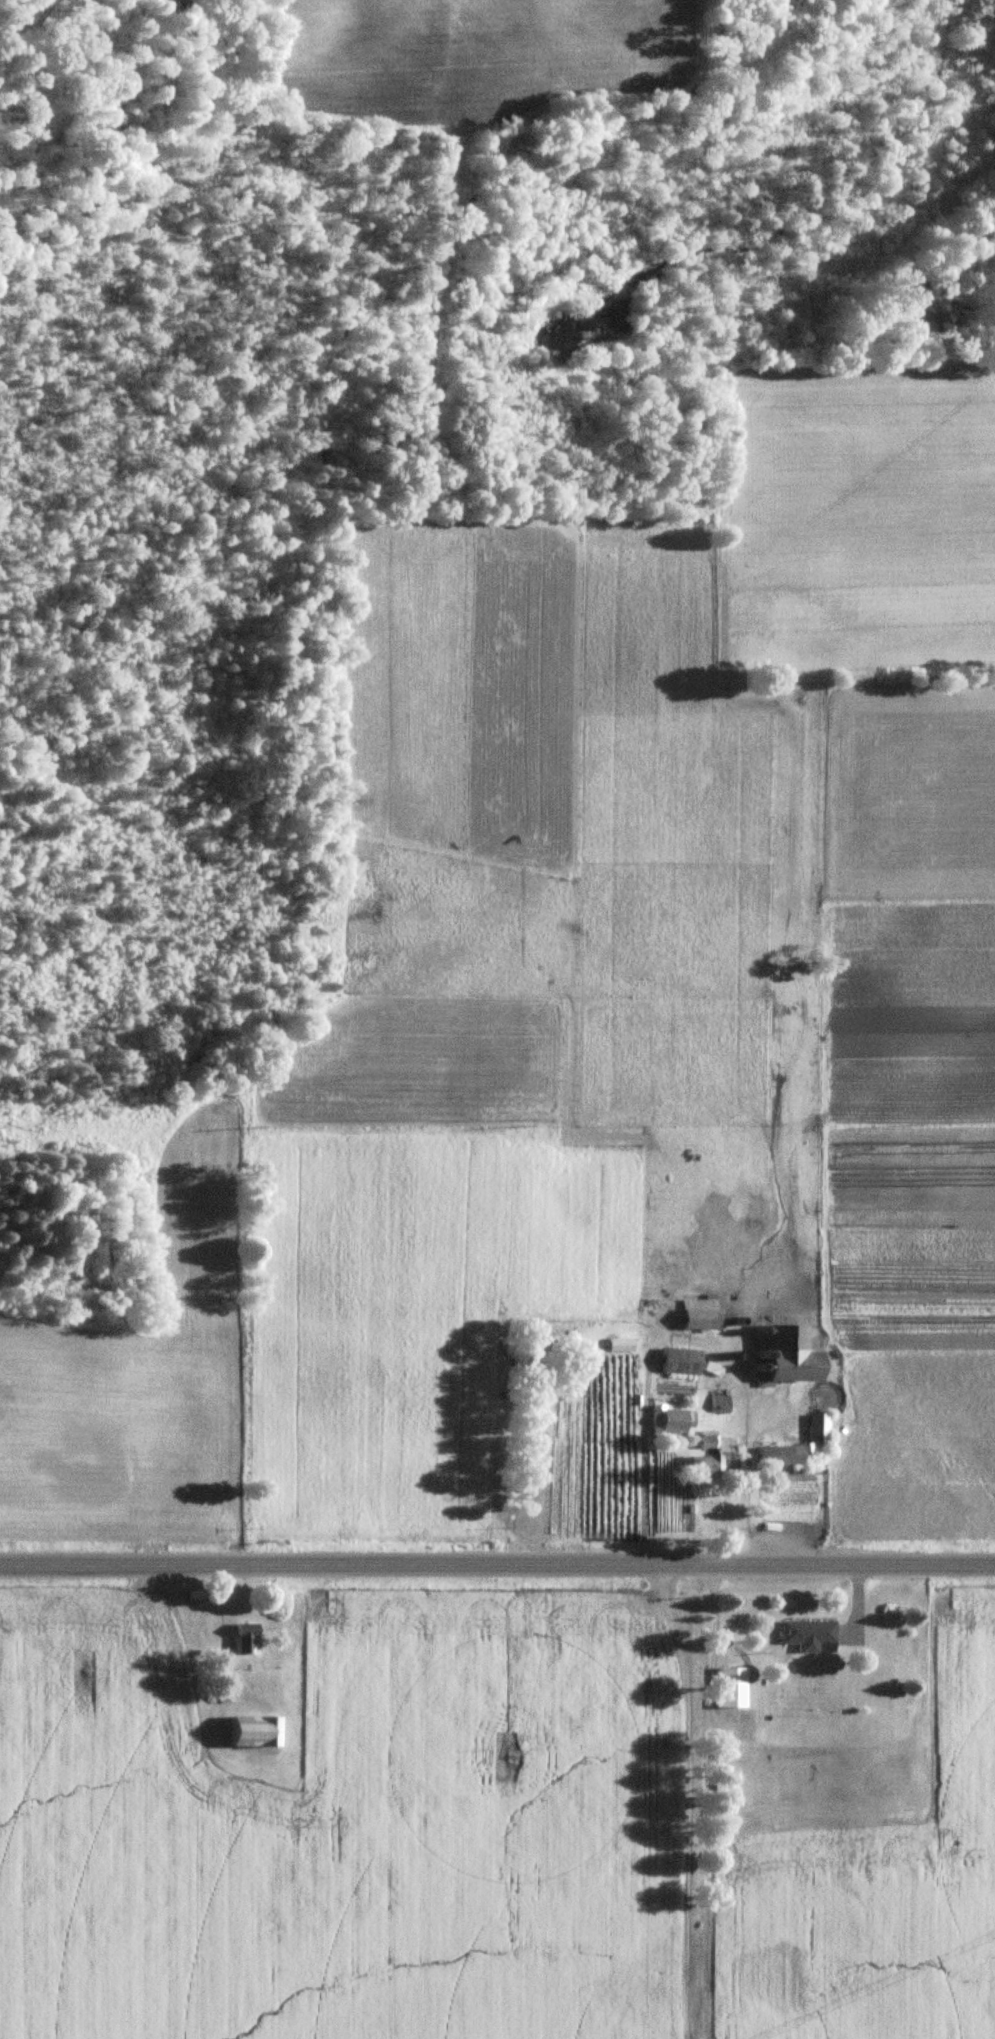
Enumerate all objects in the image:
building: (697, 1315)
road: (683, 1339)
building: (779, 1356)
building: (676, 1361)
building: (674, 1423)
building: (815, 1428)
building: (773, 1456)
road: (497, 1561)
building: (806, 1635)
building: (241, 1640)
building: (727, 1687)
building: (246, 1733)

